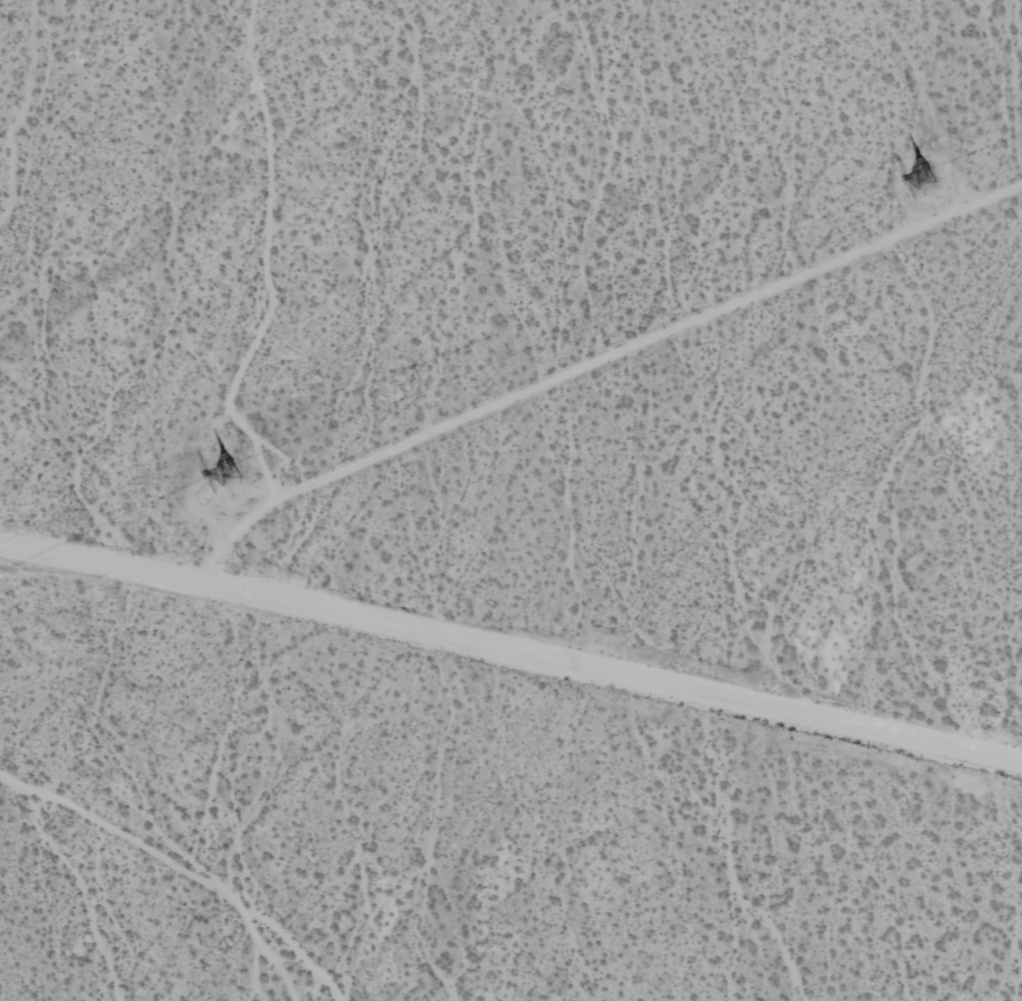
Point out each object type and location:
power tower: (929, 181)
road: (588, 364)
power tower: (234, 477)
road: (511, 653)

